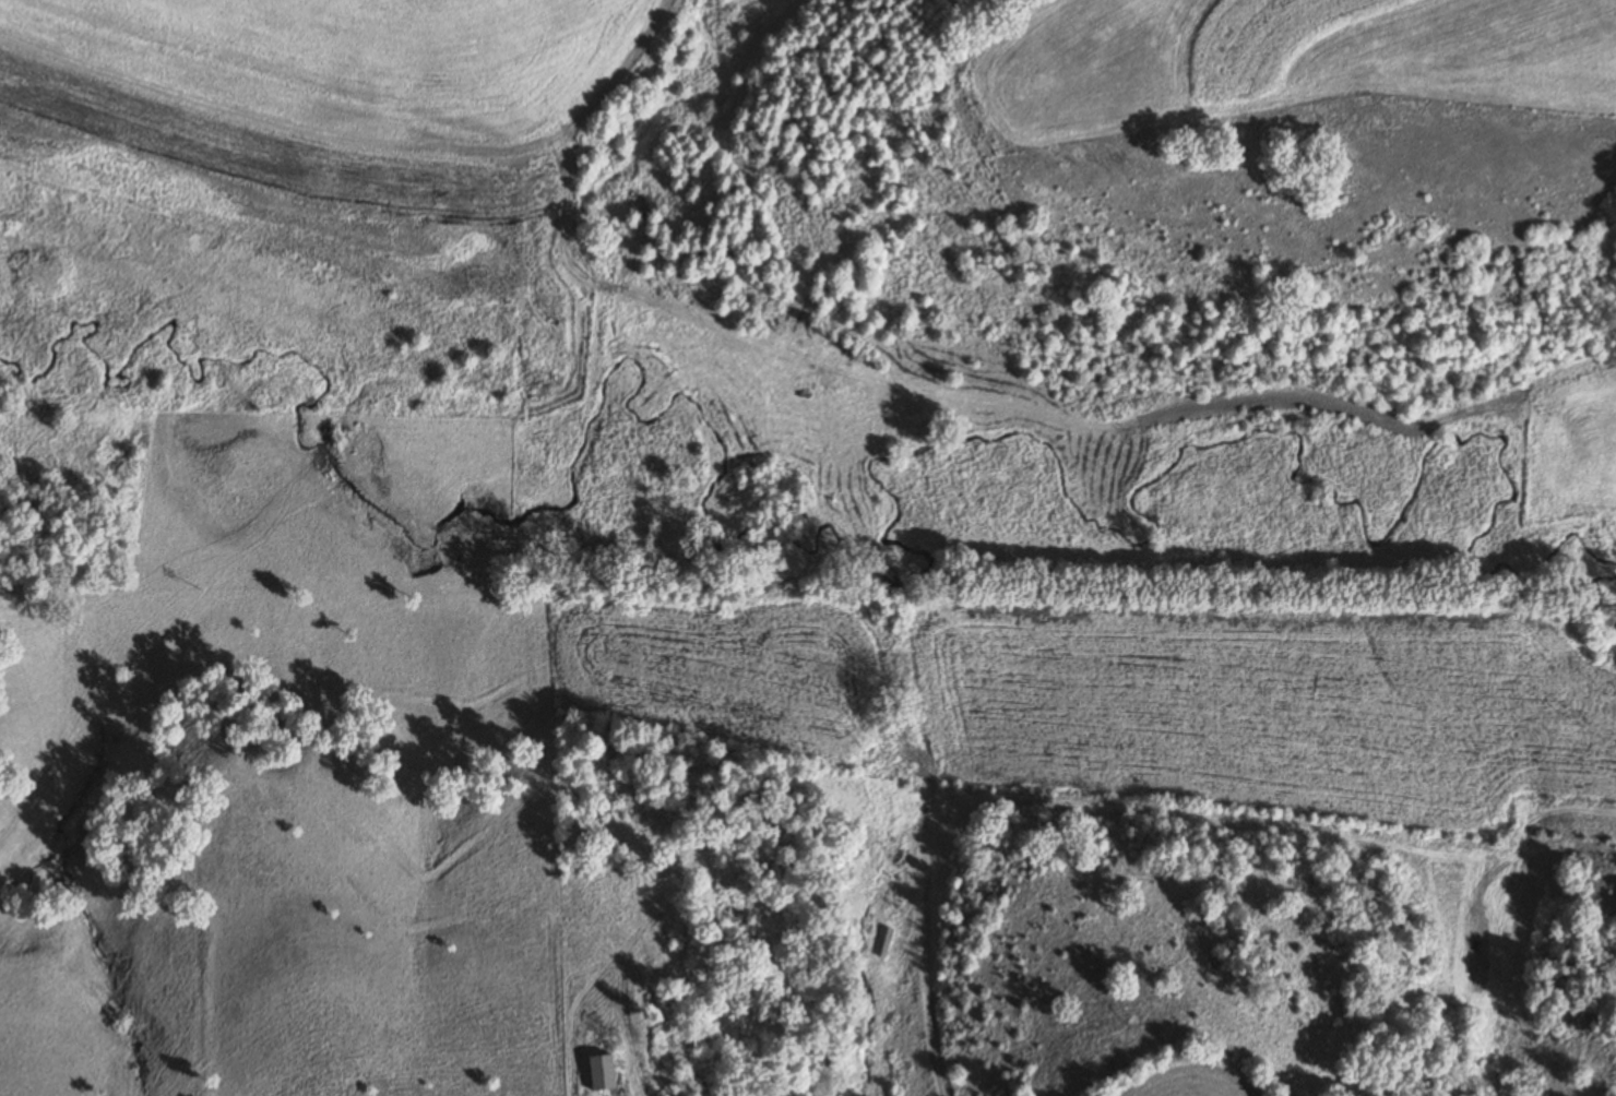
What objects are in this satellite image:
building: (604, 1072)

